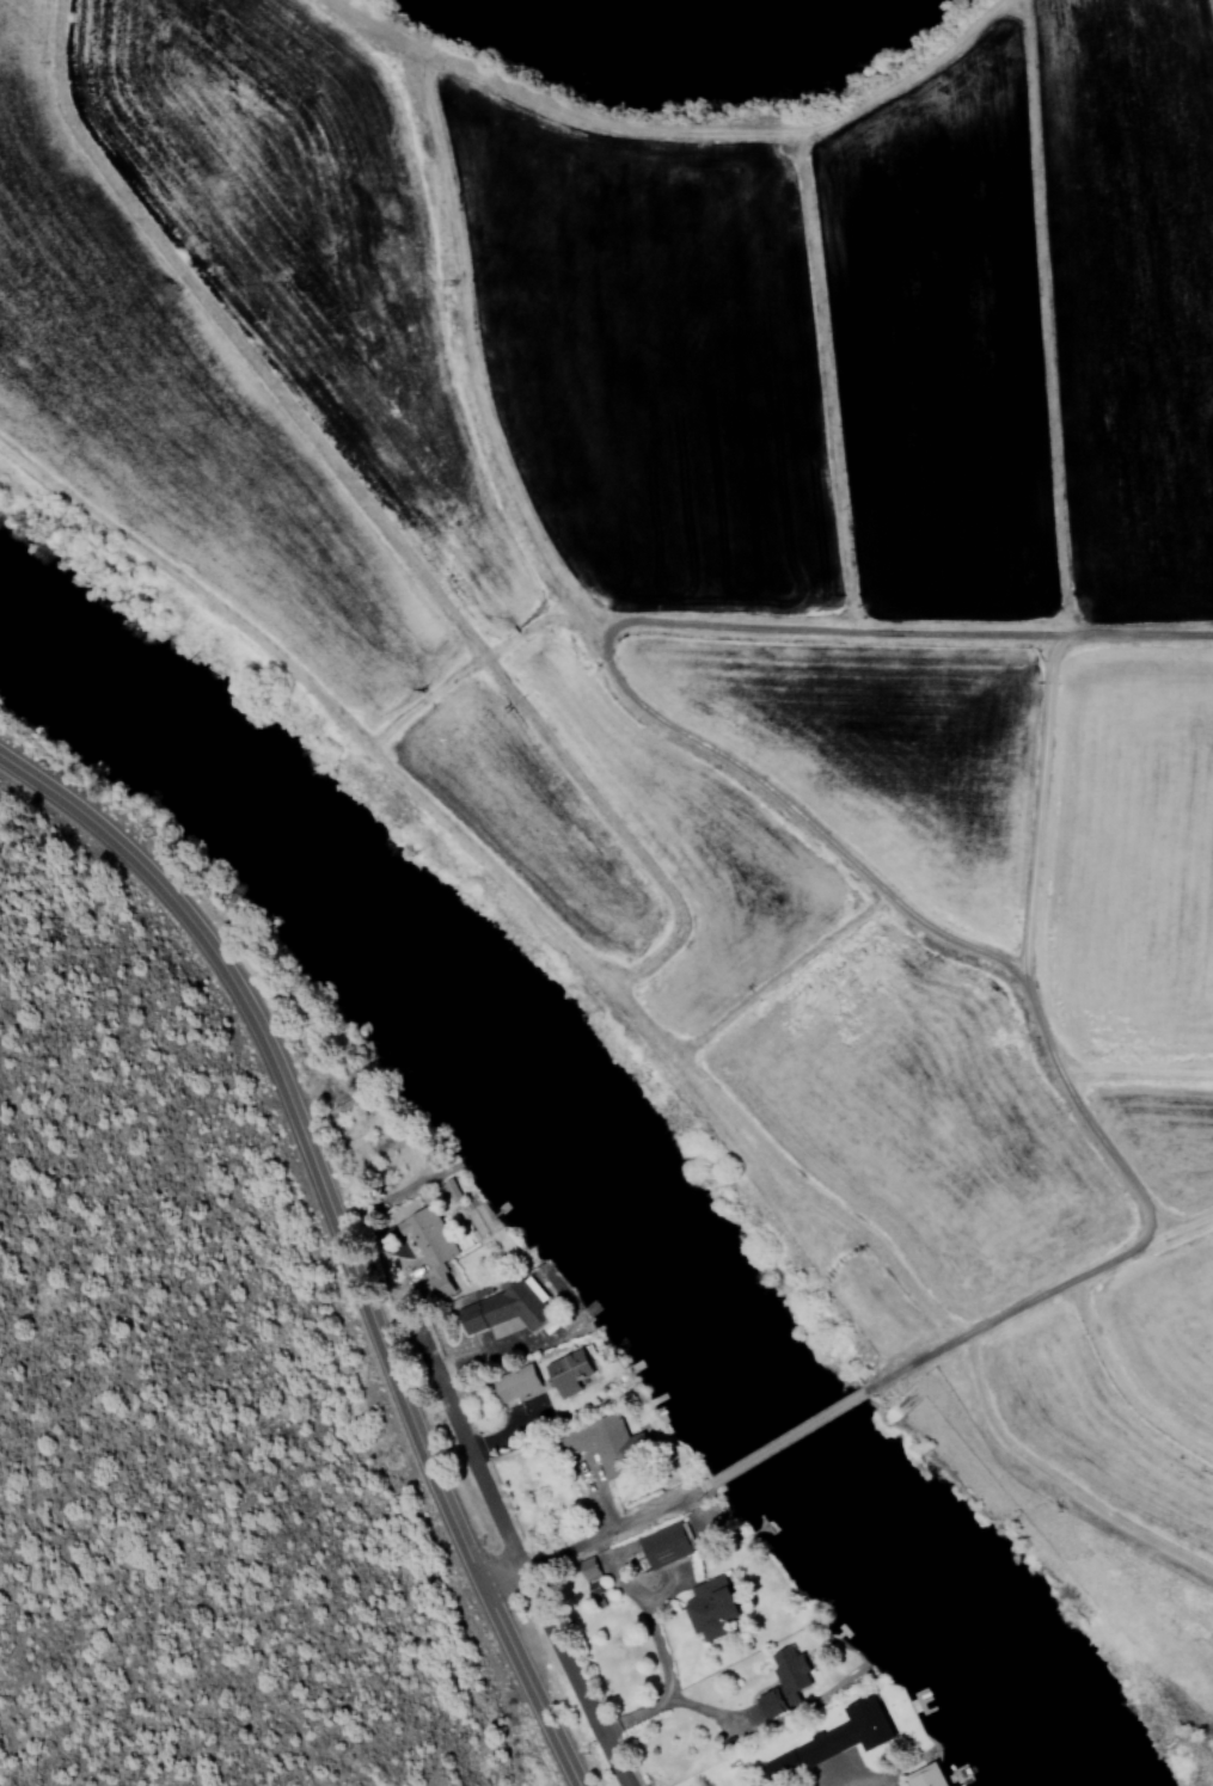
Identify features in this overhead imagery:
river: (688, 26)
river: (580, 1154)
road: (338, 1236)
building: (428, 1251)
building: (501, 1308)
building: (564, 1374)
building: (513, 1383)
road: (790, 1434)
building: (607, 1443)
road: (590, 1532)
building: (663, 1545)
road: (511, 1547)
building: (586, 1570)
building: (706, 1608)
building: (780, 1683)
building: (832, 1741)
building: (923, 1776)

